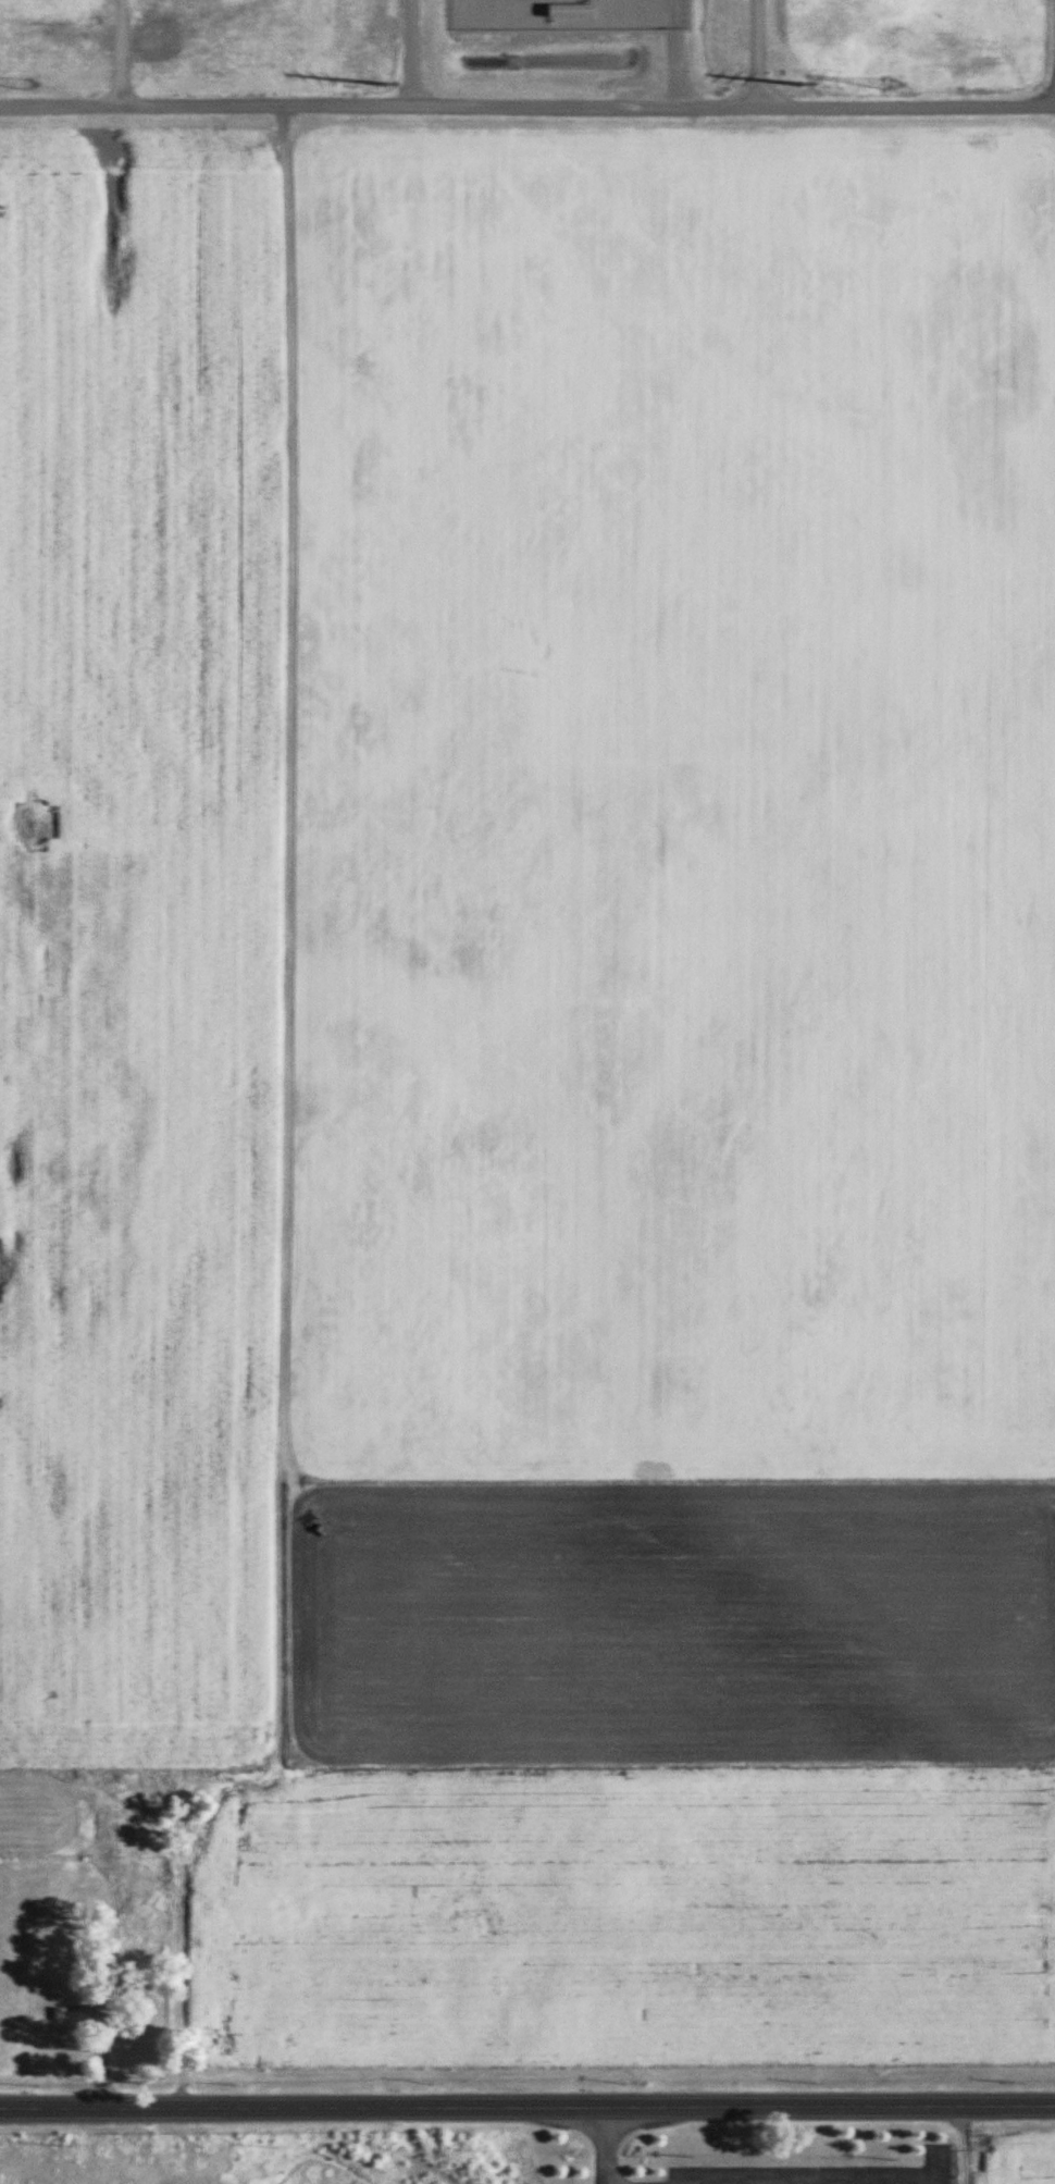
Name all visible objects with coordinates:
building: (573, 9)
power substation: (570, 14)
road: (412, 52)
road: (756, 52)
road: (1054, 54)
road: (679, 67)
power tower: (804, 82)
power tower: (30, 85)
power tower: (386, 85)
power tower: (893, 86)
road: (527, 106)
crop: (672, 804)
crop: (136, 942)
road: (280, 1132)
crop: (670, 1622)
crop: (626, 1917)
road: (100, 2047)
road: (526, 2106)
road: (963, 2144)
road: (606, 2145)
crop: (1013, 2152)
parking lot: (762, 2174)
road: (796, 2175)
road: (869, 2180)

